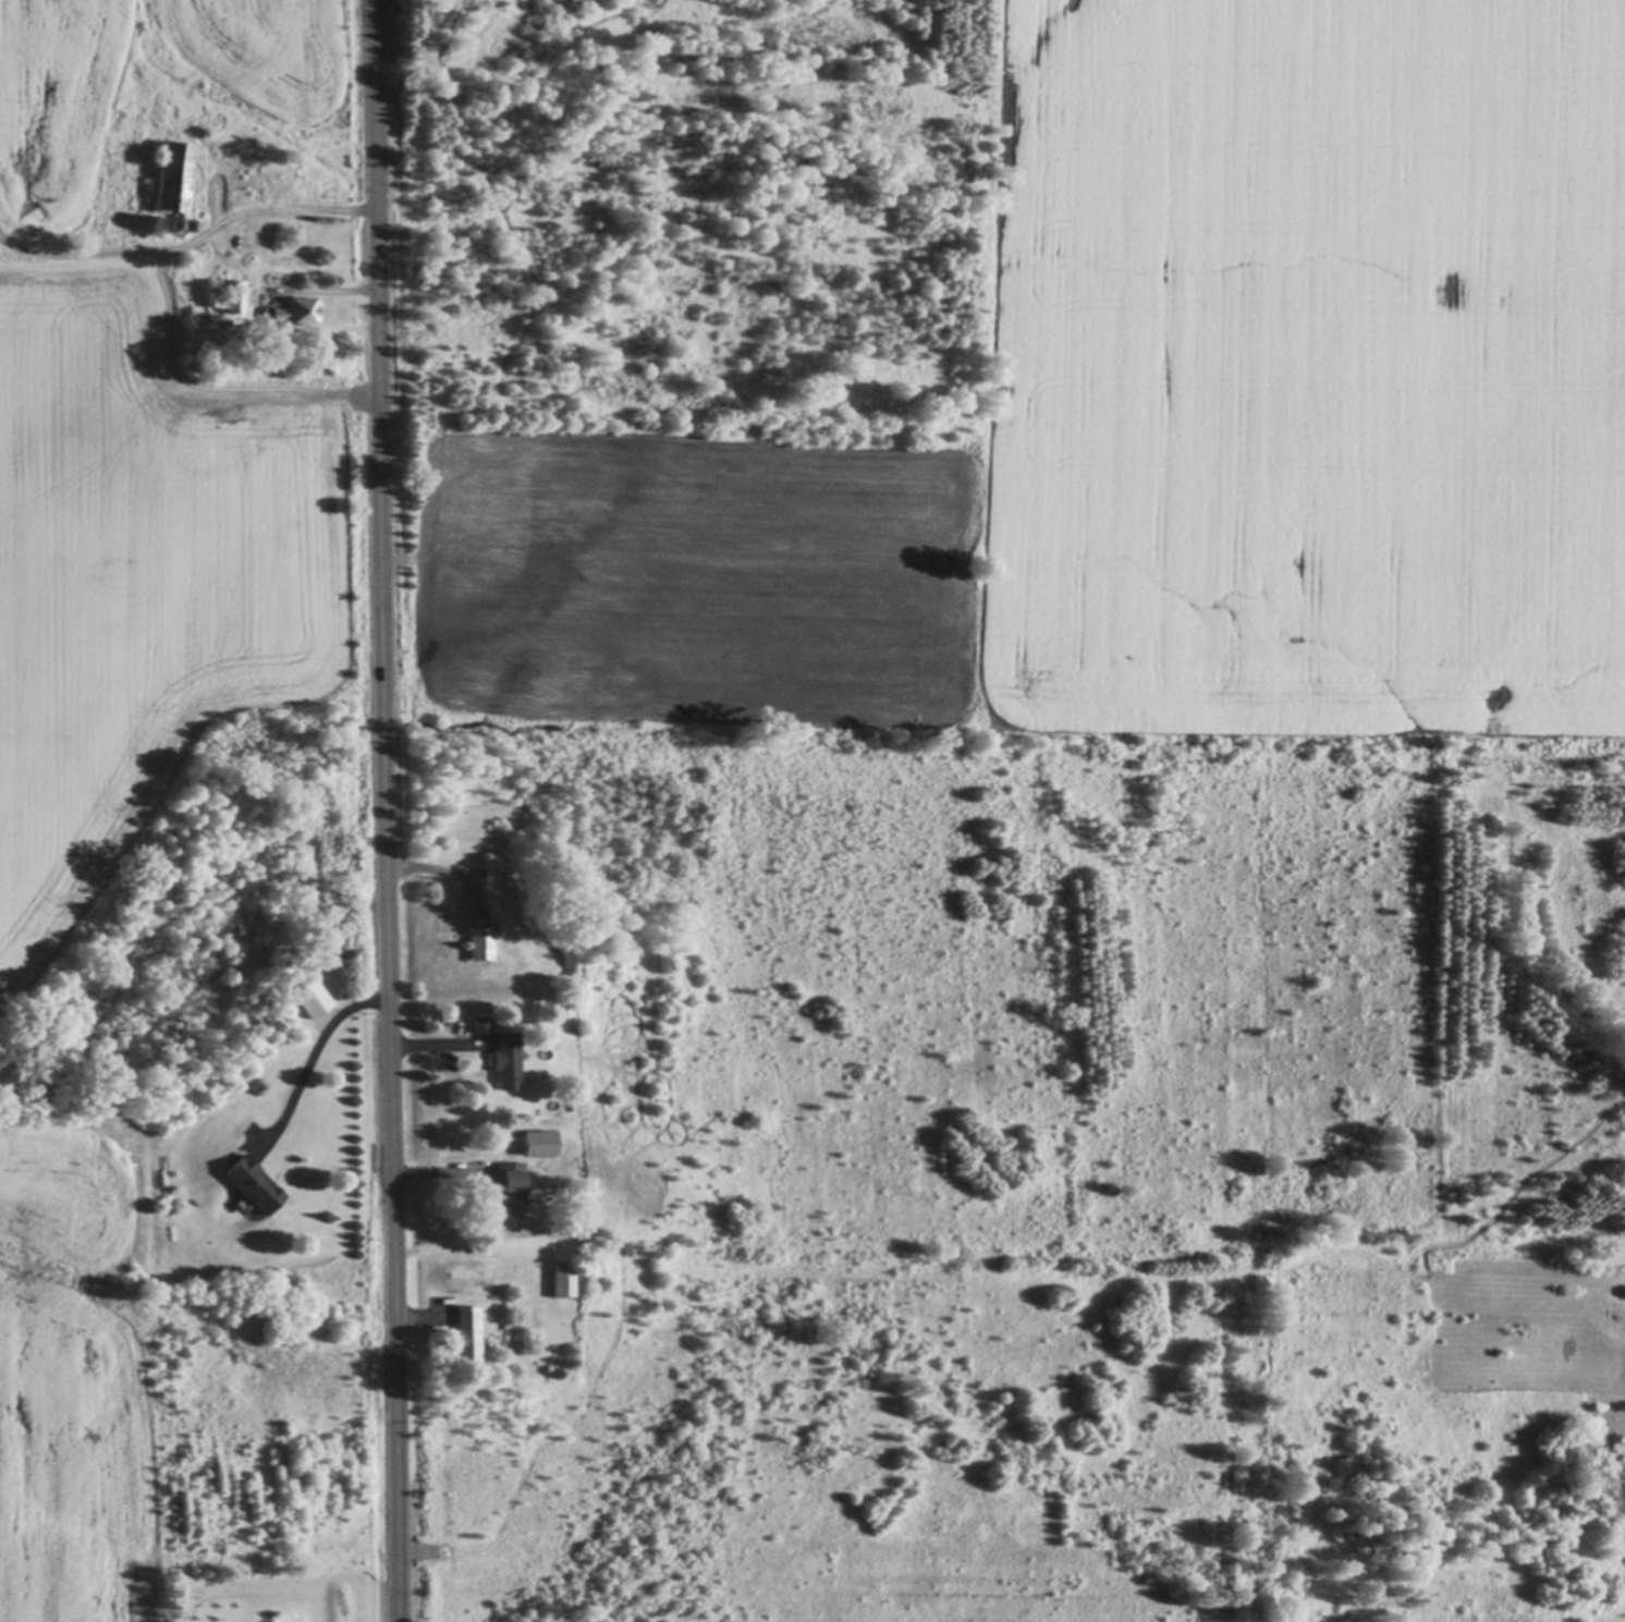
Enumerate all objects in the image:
building: (172, 174)
building: (168, 222)
building: (181, 224)
building: (233, 295)
building: (292, 310)
road: (381, 810)
building: (478, 940)
building: (307, 999)
building: (477, 1024)
building: (501, 1060)
building: (569, 1092)
building: (535, 1144)
building: (508, 1182)
building: (248, 1185)
building: (561, 1280)
building: (464, 1333)

